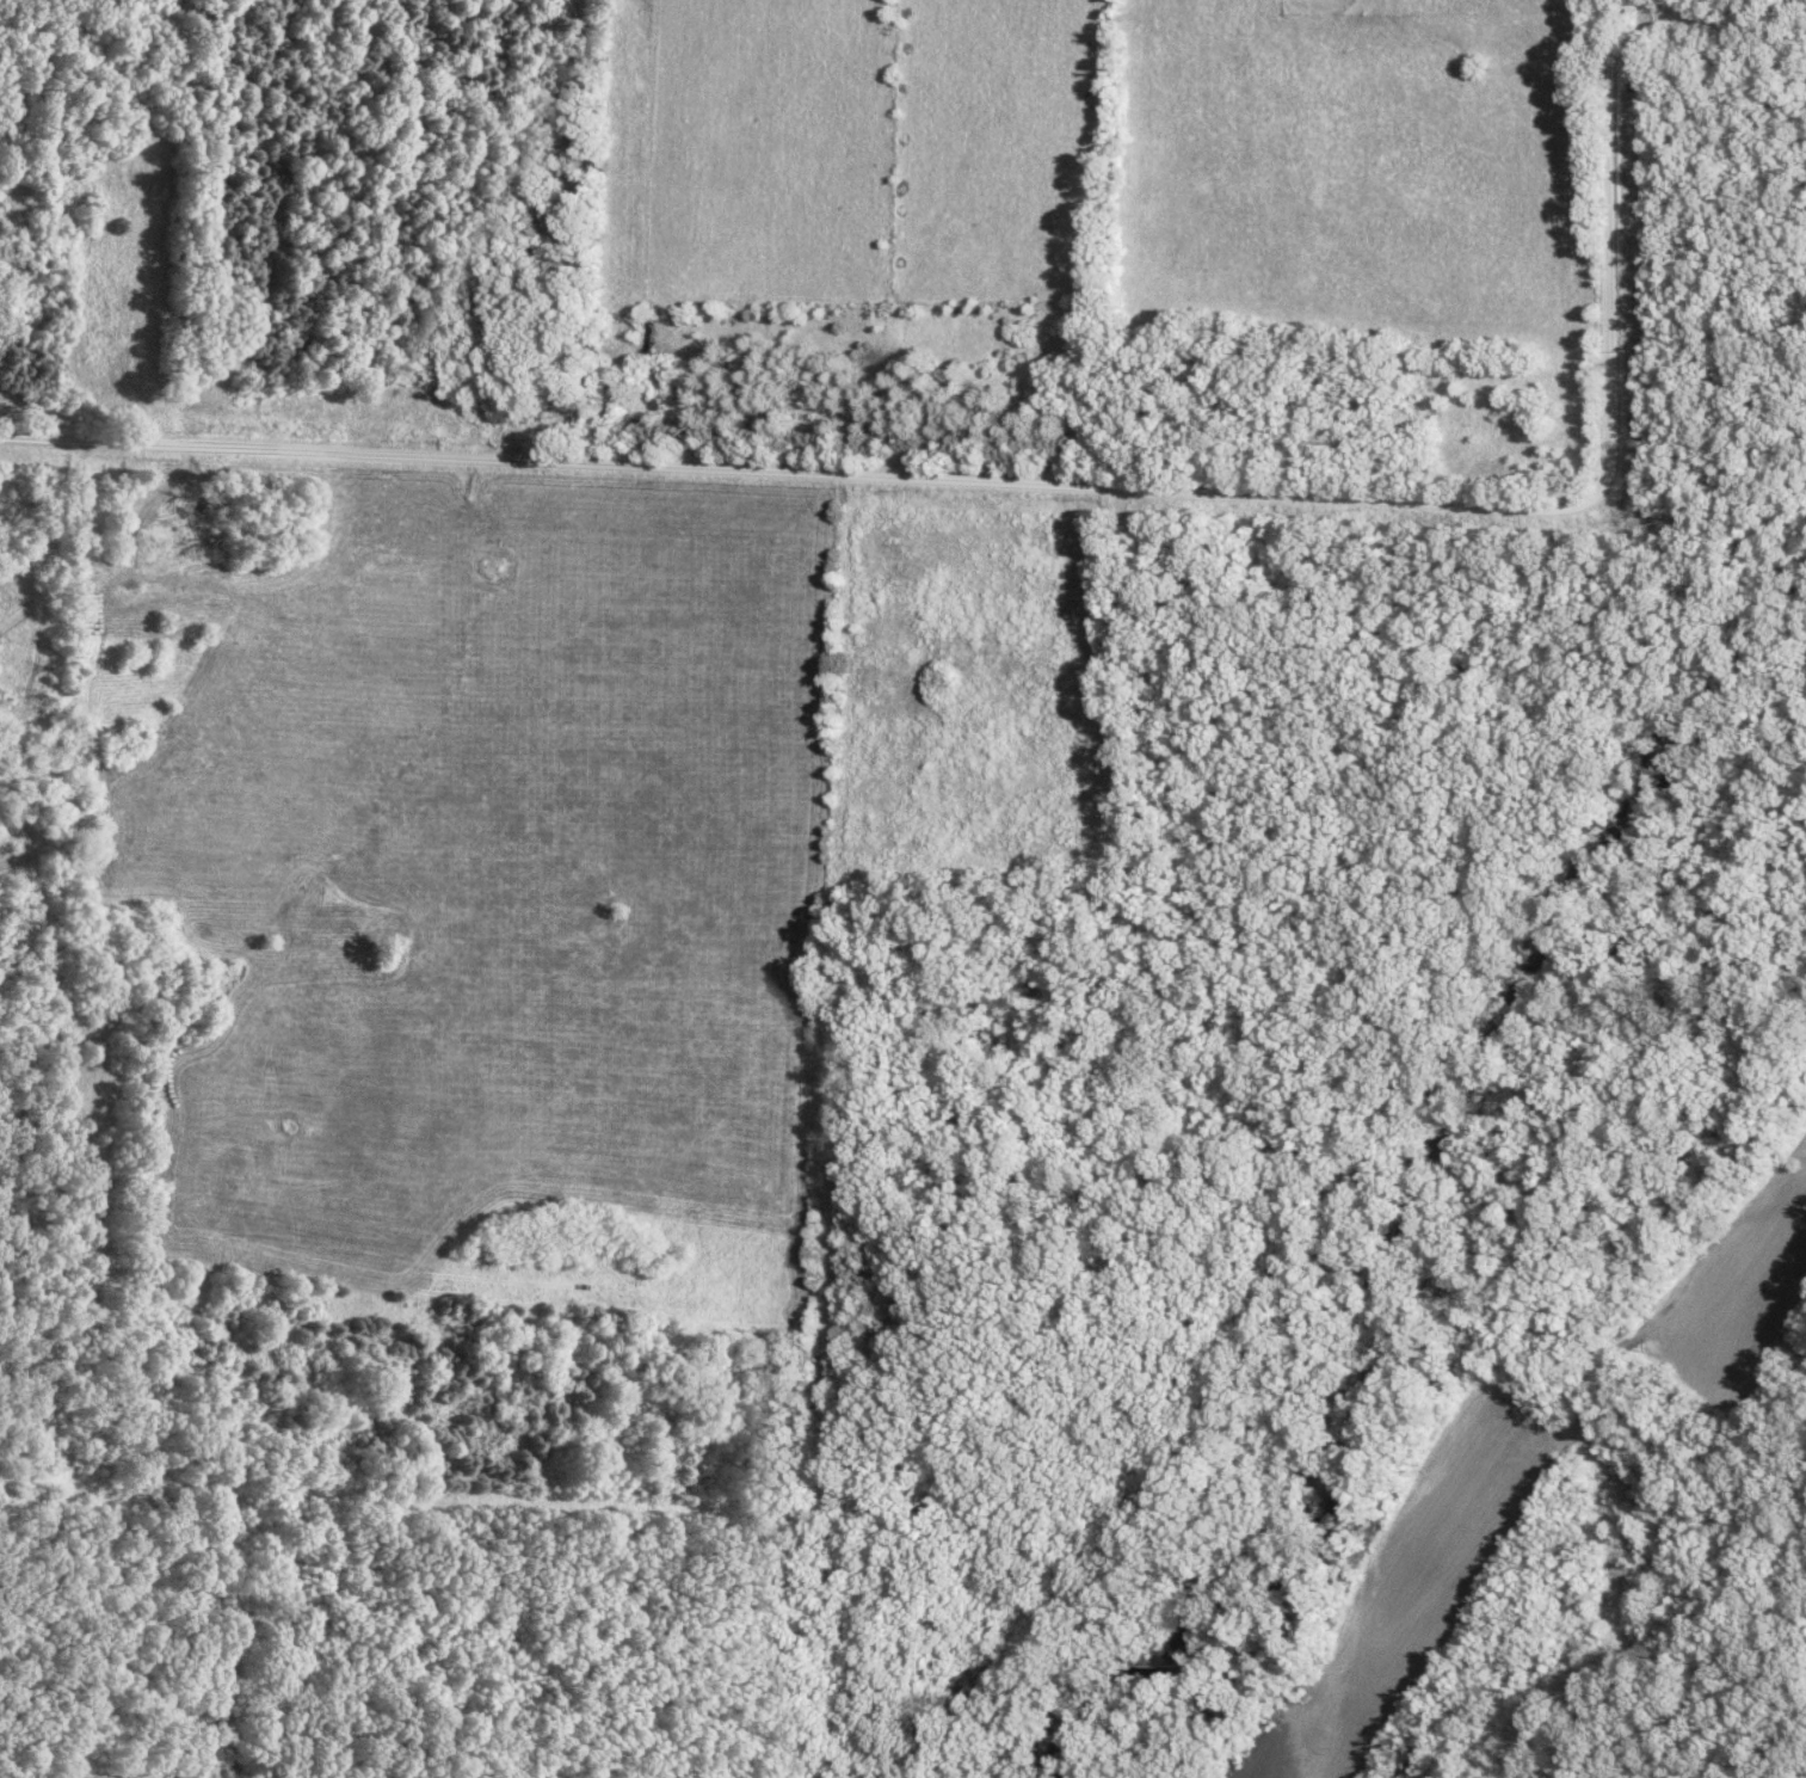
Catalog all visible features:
road: (1046, 487)

